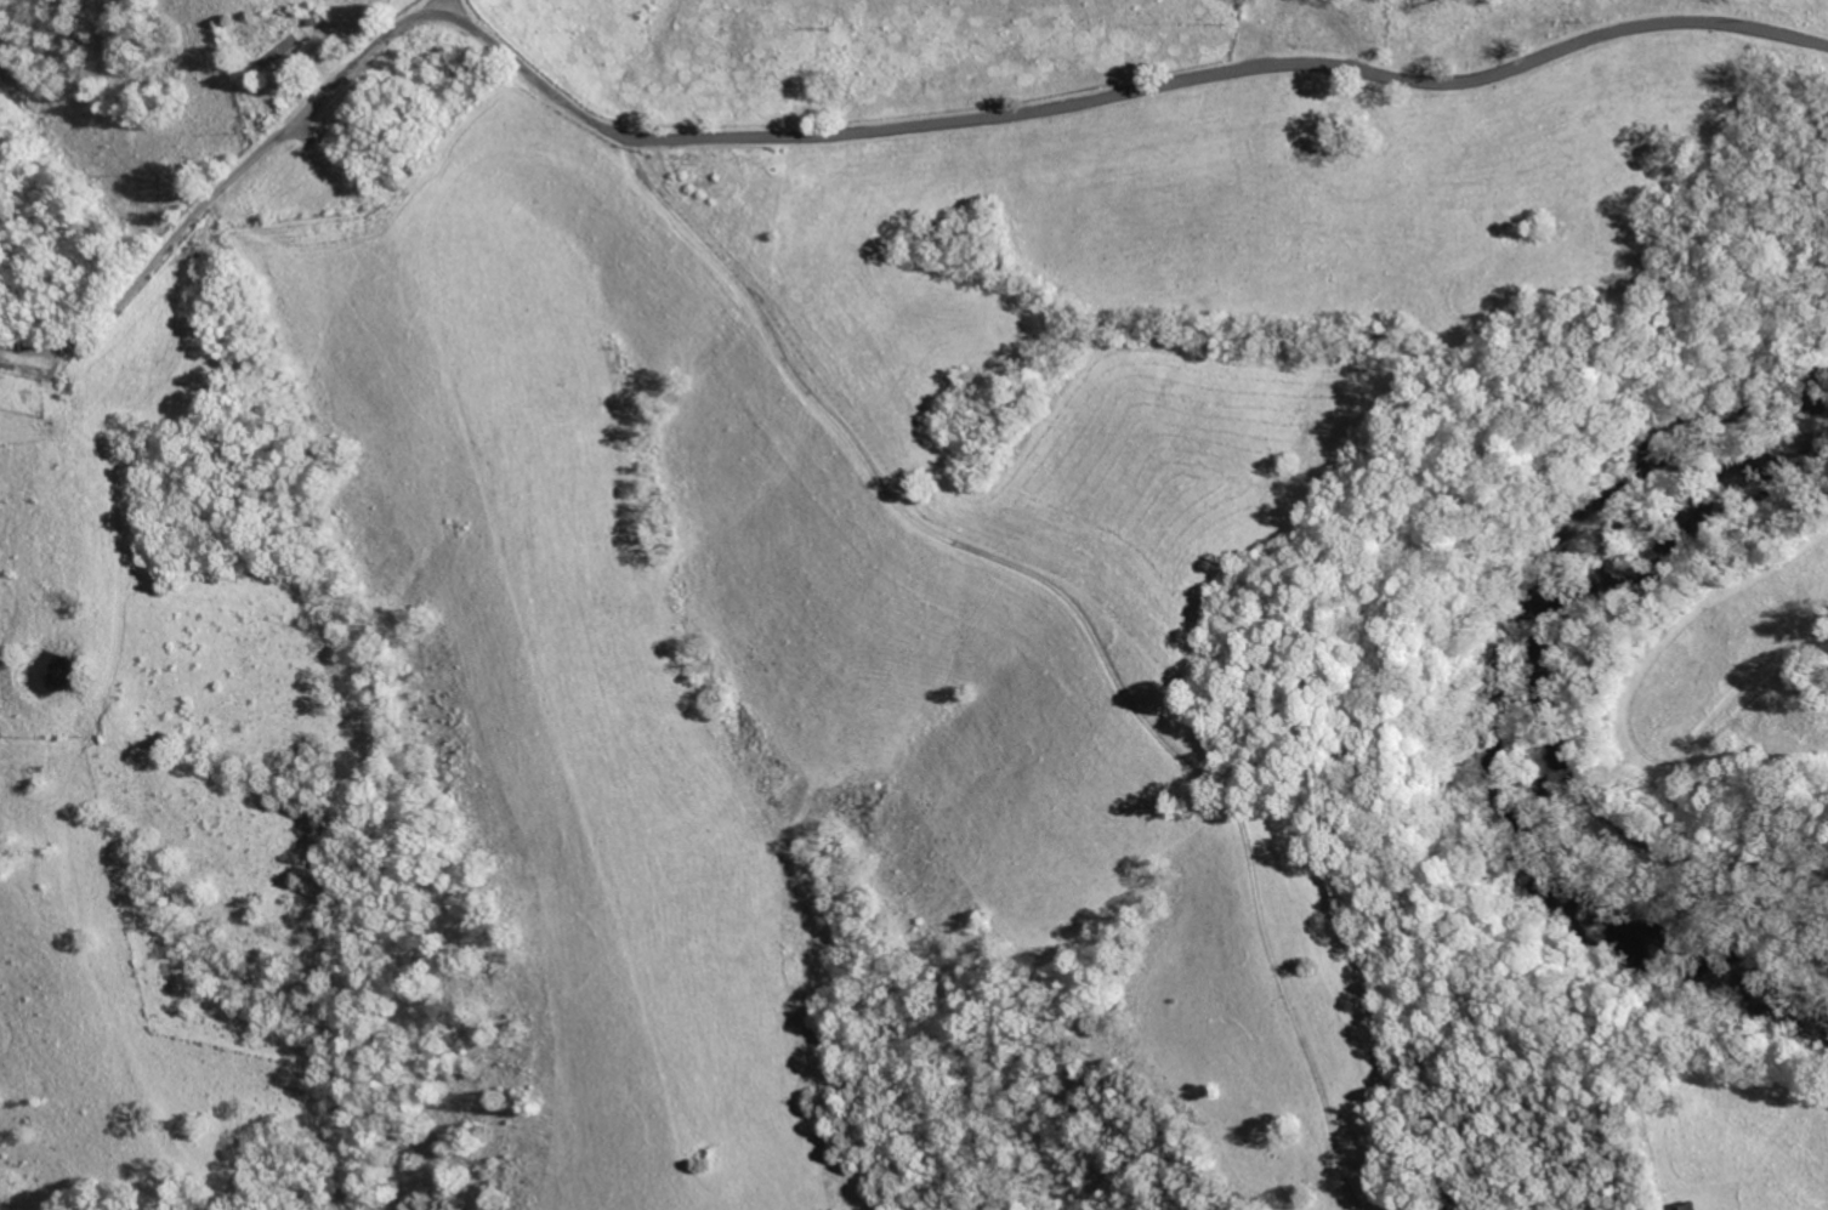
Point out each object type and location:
road: (447, 7)
building: (283, 51)
road: (1255, 75)
road: (319, 96)
building: (1688, 1206)

